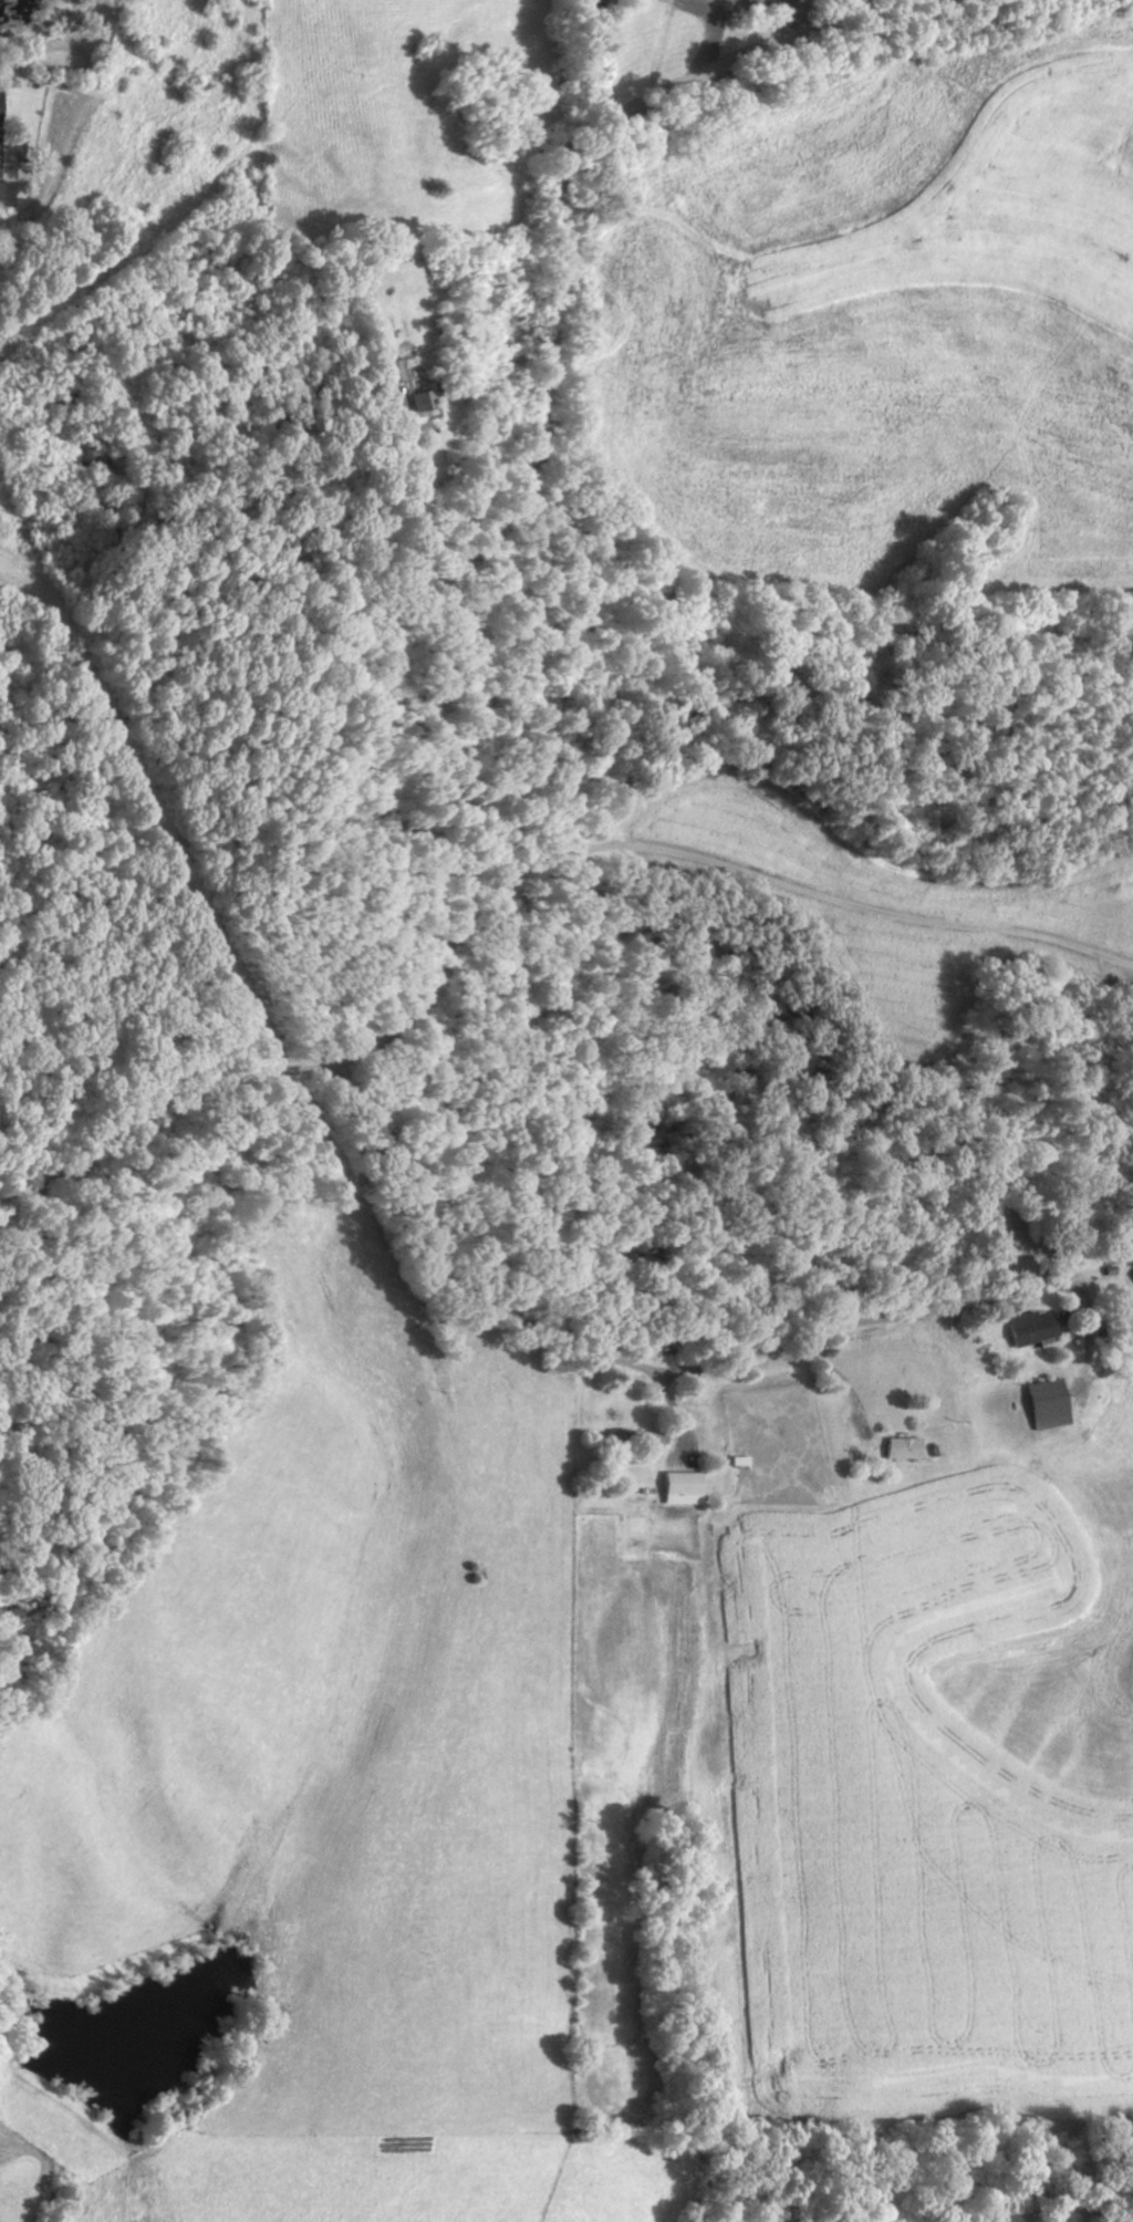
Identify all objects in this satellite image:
building: (717, 2)
building: (7, 193)
building: (385, 370)
building: (414, 398)
road: (376, 637)
road: (800, 884)
building: (1130, 1276)
building: (1022, 1329)
road: (663, 1373)
building: (1042, 1403)
building: (632, 1437)
building: (898, 1449)
building: (673, 1484)

